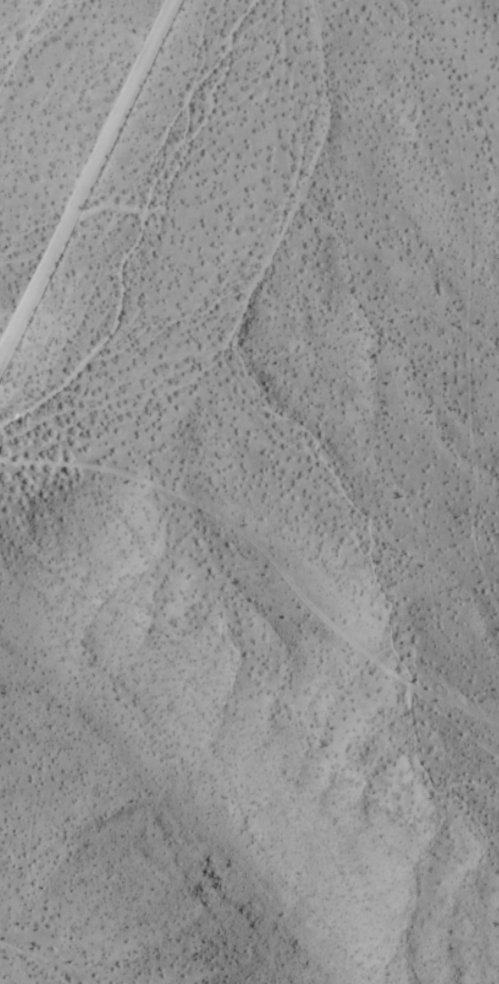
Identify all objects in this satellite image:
road: (85, 174)

